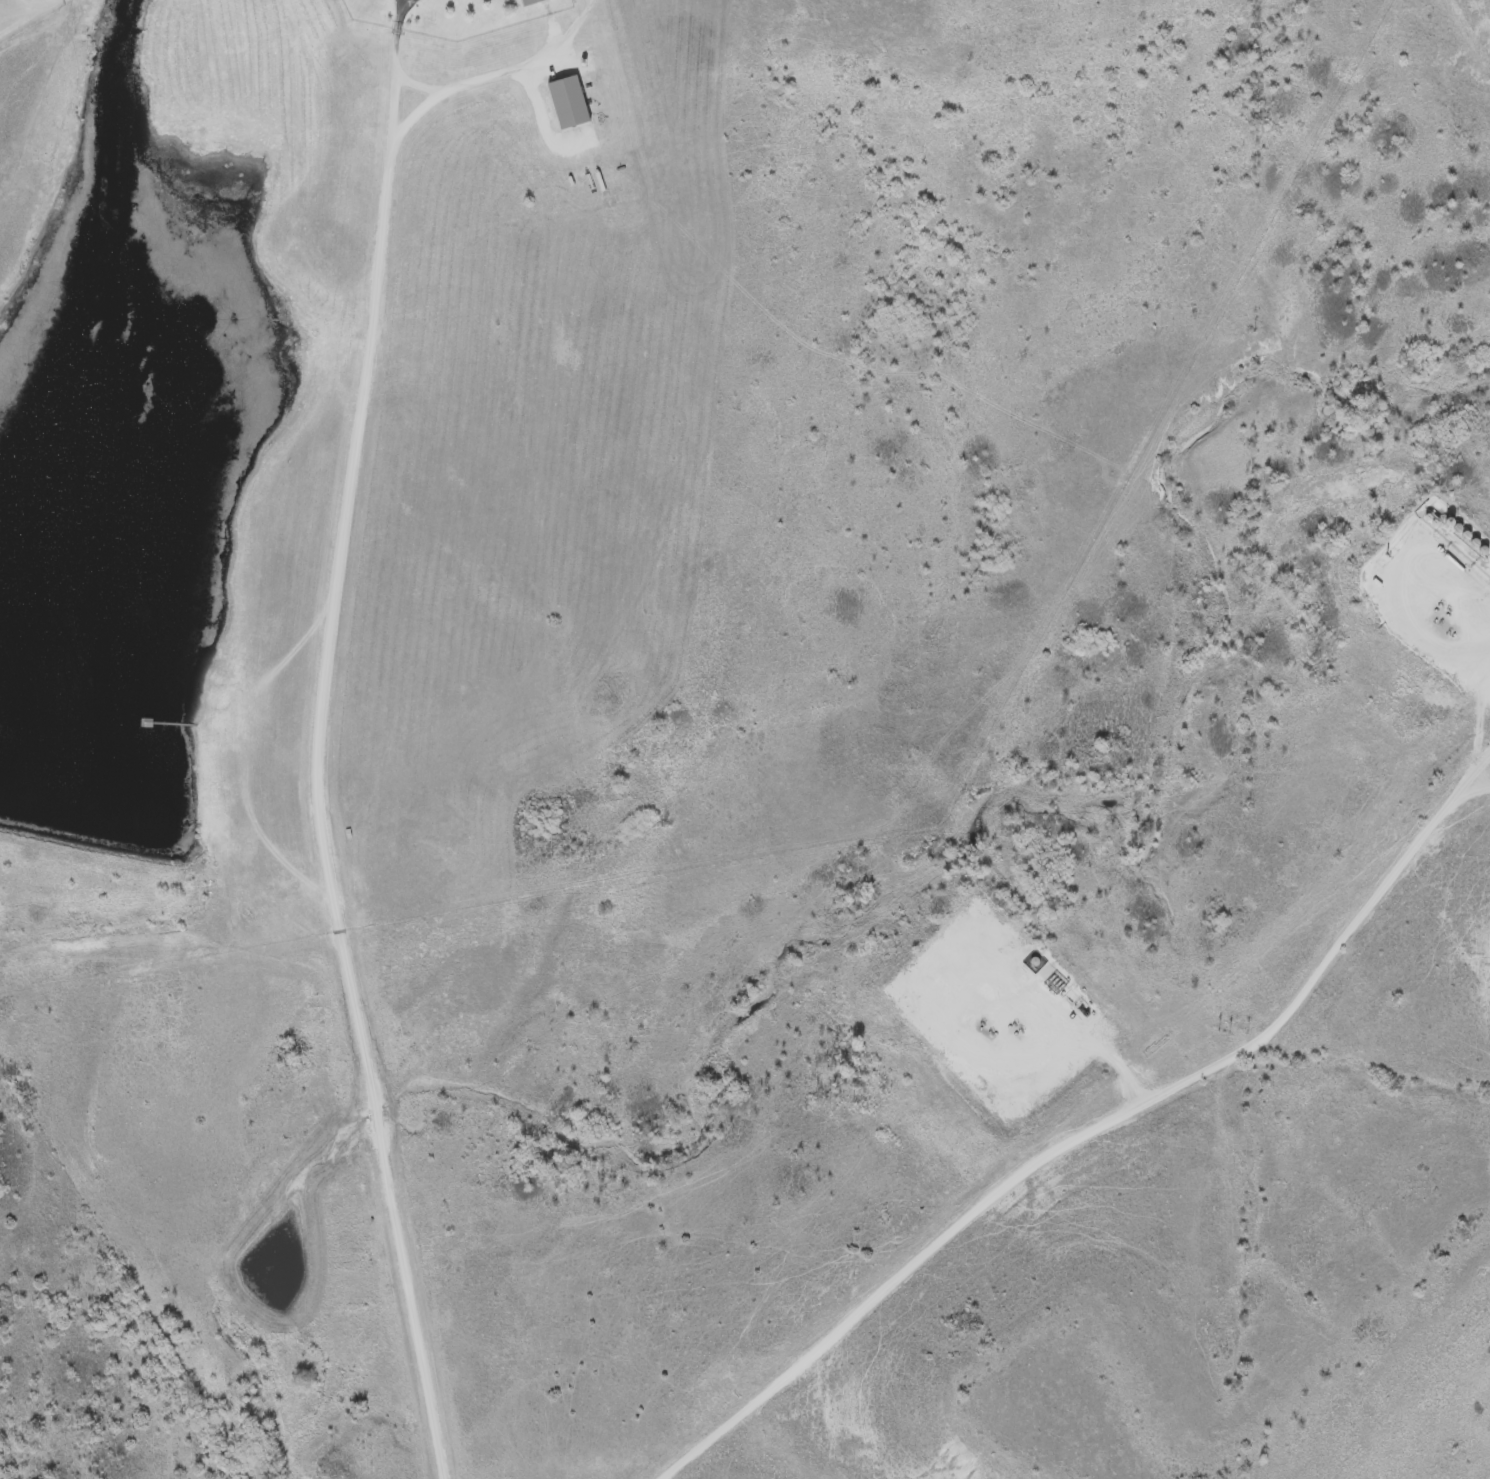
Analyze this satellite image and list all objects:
building: (522, 1)
road: (20, 4)
road: (21, 10)
road: (475, 73)
building: (563, 101)
road: (415, 112)
building: (1465, 678)
road: (310, 742)
road: (1483, 775)
road: (1094, 1123)

